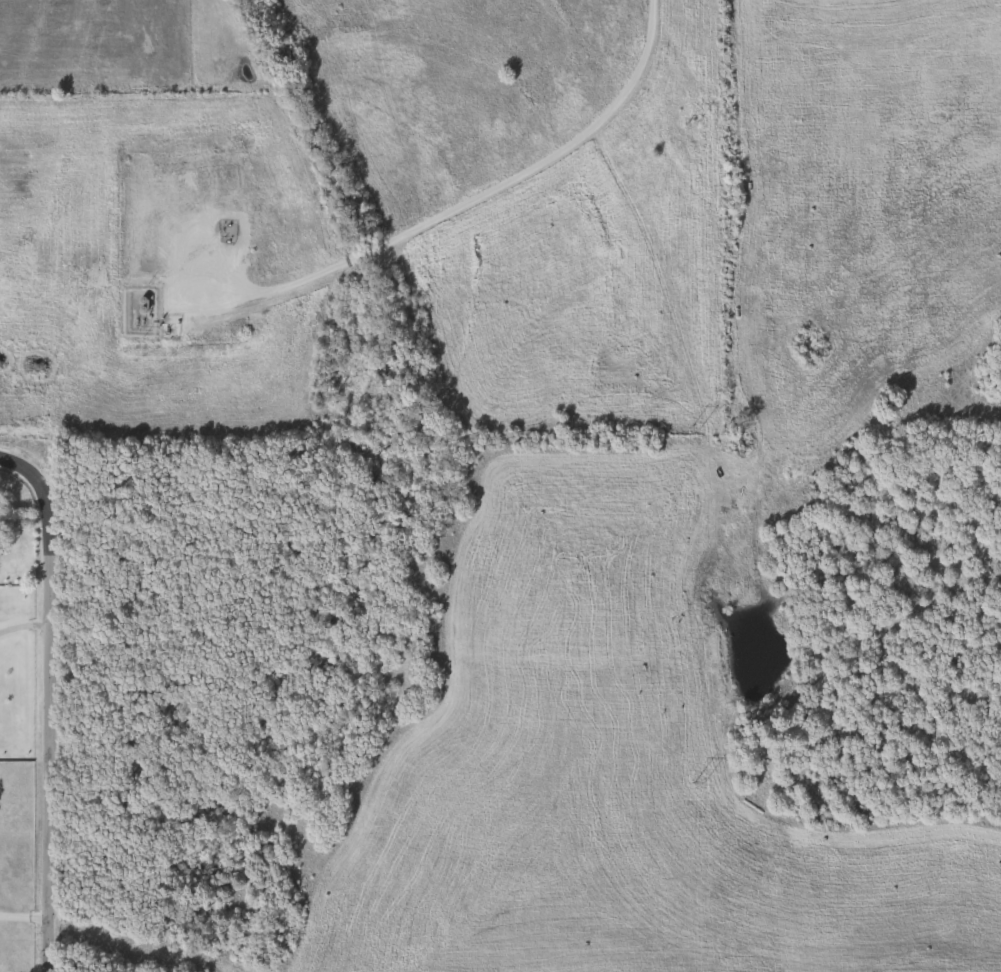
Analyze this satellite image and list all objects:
power tower: (692, 126)
road: (459, 200)
power tower: (694, 427)
road: (21, 627)
road: (43, 706)
power tower: (698, 783)
road: (23, 915)

